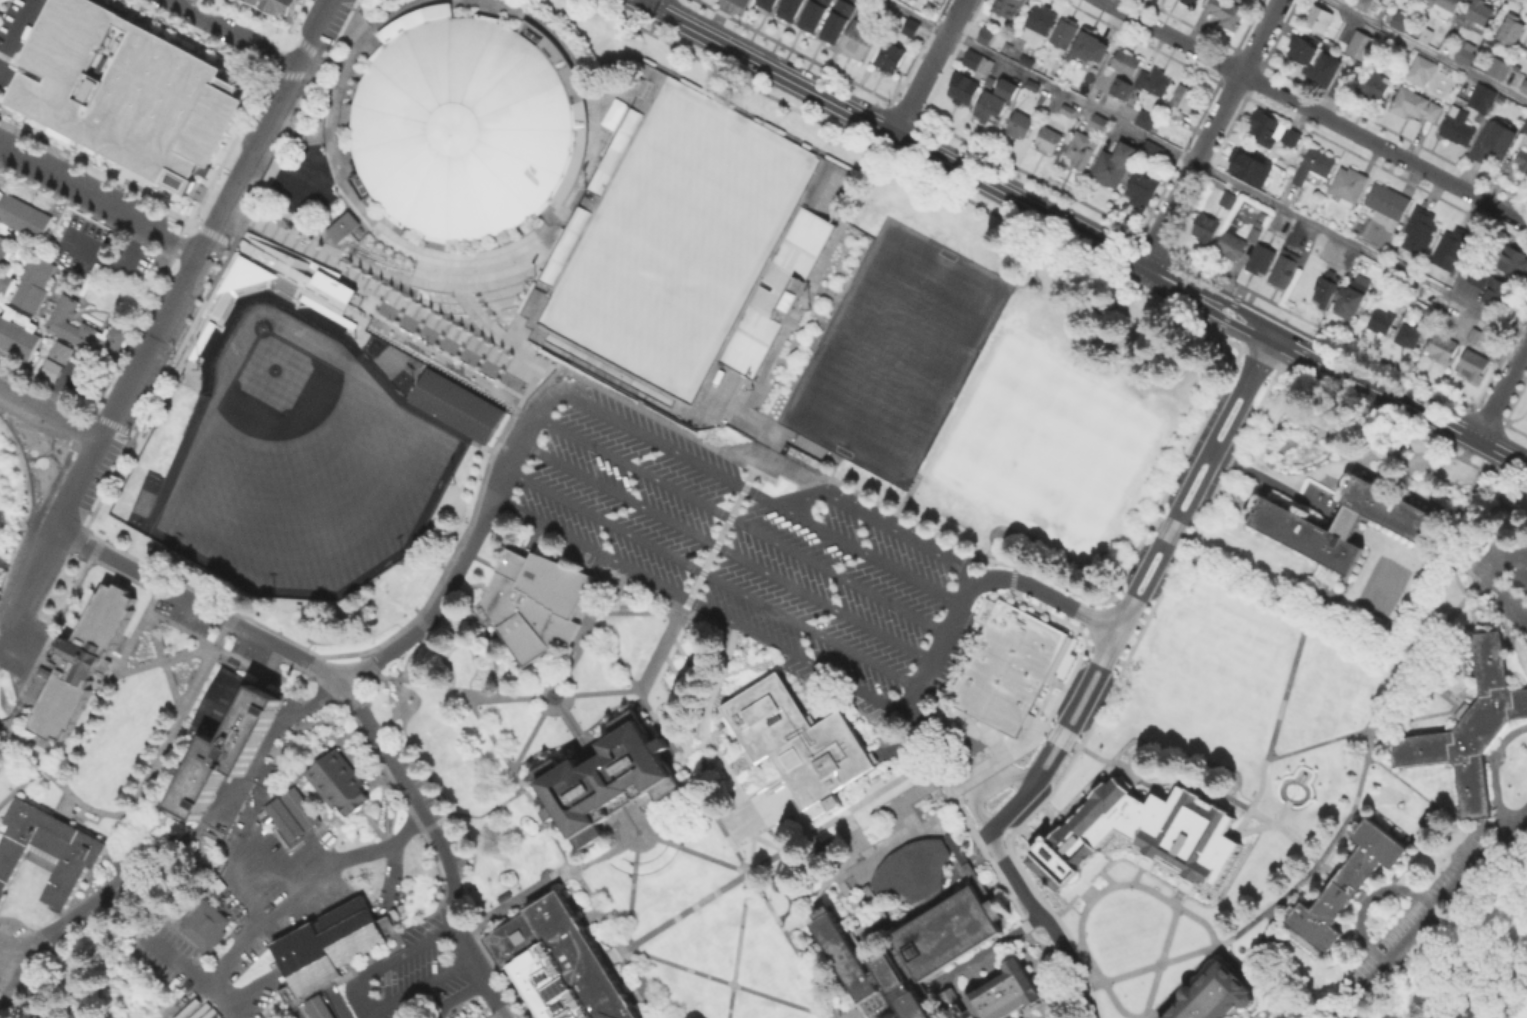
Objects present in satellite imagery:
building: (740, 2)
building: (770, 2)
road: (648, 3)
building: (1189, 3)
building: (278, 4)
building: (1364, 4)
building: (1007, 6)
building: (1444, 6)
building: (792, 7)
road: (201, 8)
road: (488, 10)
building: (816, 13)
building: (1225, 13)
building: (1478, 14)
building: (1040, 19)
building: (1319, 19)
building: (839, 20)
building: (1401, 22)
building: (911, 27)
building: (1512, 30)
road: (17, 32)
building: (1064, 32)
road: (231, 33)
road: (311, 33)
building: (989, 33)
road: (203, 35)
building: (1426, 38)
building: (859, 40)
road: (369, 42)
building: (1367, 45)
building: (1085, 46)
road: (310, 49)
road: (1429, 50)
building: (1468, 54)
building: (1526, 55)
building: (892, 57)
road: (317, 60)
building: (1316, 60)
building: (977, 62)
road: (273, 63)
building: (1026, 63)
building: (1124, 64)
road: (929, 67)
building: (1500, 70)
road: (312, 71)
building: (1422, 72)
road: (287, 73)
building: (1090, 73)
building: (1154, 83)
building: (1376, 85)
building: (1032, 87)
building: (963, 88)
building: (1008, 88)
building: (1525, 89)
building: (129, 92)
building: (1483, 99)
building: (992, 102)
building: (1181, 103)
building: (1416, 106)
road: (1314, 111)
building: (611, 112)
building: (1067, 112)
road: (340, 113)
road: (581, 116)
road: (297, 122)
building: (1147, 122)
building: (1099, 123)
building: (1019, 124)
building: (464, 125)
stadium: (464, 125)
building: (1524, 125)
building: (1458, 127)
road: (1210, 132)
building: (1272, 132)
building: (1048, 139)
building: (1494, 143)
road: (230, 145)
building: (1080, 150)
building: (1152, 153)
building: (1522, 161)
road: (344, 164)
building: (1114, 165)
building: (1246, 165)
road: (1206, 167)
building: (1315, 167)
road: (289, 179)
building: (1349, 186)
building: (1143, 188)
road: (98, 201)
building: (1229, 201)
building: (1387, 204)
road: (549, 210)
building: (23, 217)
building: (344, 226)
building: (1206, 231)
road: (183, 232)
road: (211, 232)
building: (1420, 232)
road: (1081, 233)
building: (1256, 235)
park: (677, 239)
road: (434, 242)
building: (1231, 246)
building: (2, 247)
building: (1454, 249)
stadium: (692, 252)
road: (197, 253)
road: (463, 258)
road: (112, 259)
building: (1260, 261)
building: (1514, 264)
building: (1286, 270)
building: (244, 274)
building: (4, 282)
building: (33, 285)
building: (1327, 288)
building: (1496, 290)
building: (308, 291)
building: (775, 291)
road: (826, 291)
building: (1353, 296)
road: (474, 297)
building: (530, 302)
building: (1434, 311)
building: (18, 318)
building: (1444, 320)
building: (1382, 323)
road: (503, 324)
road: (377, 326)
building: (87, 331)
building: (1410, 337)
building: (1475, 337)
building: (16, 339)
building: (1440, 350)
park: (895, 351)
park: (896, 351)
building: (57, 361)
road: (1264, 363)
building: (1472, 366)
road: (1501, 391)
road: (15, 399)
building: (457, 403)
road: (517, 404)
road: (745, 405)
road: (642, 406)
road: (66, 423)
road: (516, 438)
park: (299, 442)
road: (674, 450)
road: (1486, 453)
road: (1268, 480)
road: (739, 522)
road: (882, 524)
building: (1344, 528)
road: (48, 539)
parking lot: (743, 548)
road: (725, 549)
road: (1458, 549)
road: (92, 553)
road: (1145, 554)
road: (877, 558)
road: (482, 559)
road: (700, 573)
road: (710, 577)
road: (1490, 579)
road: (593, 582)
road: (1145, 588)
road: (1051, 595)
building: (535, 600)
road: (697, 605)
road: (1328, 612)
road: (593, 614)
road: (1496, 618)
road: (1490, 621)
road: (259, 623)
road: (586, 626)
road: (225, 627)
road: (52, 629)
road: (577, 636)
road: (202, 638)
road: (942, 644)
road: (413, 652)
building: (81, 658)
road: (161, 659)
road: (154, 662)
road: (288, 662)
road: (751, 662)
building: (1010, 663)
road: (567, 668)
road: (1291, 668)
road: (374, 674)
road: (261, 677)
road: (600, 691)
road: (468, 694)
road: (542, 695)
building: (222, 702)
road: (706, 704)
road: (356, 705)
building: (1464, 712)
road: (1095, 713)
road: (1034, 715)
road: (1415, 716)
road: (973, 721)
road: (1372, 723)
road: (1045, 726)
building: (1474, 727)
road: (272, 728)
road: (575, 729)
road: (910, 733)
road: (1059, 735)
road: (341, 737)
road: (528, 737)
road: (34, 739)
building: (797, 739)
road: (1071, 742)
road: (667, 748)
building: (226, 750)
road: (912, 755)
road: (33, 758)
road: (1104, 759)
road: (1495, 770)
road: (1129, 775)
building: (608, 776)
road: (379, 778)
building: (338, 780)
road: (1297, 780)
road: (988, 782)
road: (19, 784)
road: (954, 784)
road: (917, 790)
road: (71, 795)
road: (265, 796)
road: (757, 798)
road: (1430, 800)
road: (501, 801)
road: (156, 806)
building: (297, 807)
road: (66, 808)
road: (466, 814)
road: (86, 816)
road: (367, 816)
road: (420, 817)
road: (443, 817)
building: (281, 818)
road: (386, 820)
road: (630, 820)
road: (138, 822)
road: (554, 822)
road: (844, 822)
road: (147, 823)
road: (1268, 824)
road: (1342, 826)
road: (197, 827)
building: (1144, 829)
road: (1028, 830)
road: (145, 832)
road: (638, 832)
road: (1285, 832)
road: (384, 836)
road: (646, 836)
road: (637, 842)
road: (232, 847)
building: (47, 848)
road: (376, 848)
road: (737, 852)
road: (566, 858)
road: (767, 859)
road: (816, 861)
road: (118, 863)
road: (273, 866)
road: (1141, 867)
road: (995, 868)
building: (914, 870)
road: (971, 870)
road: (227, 880)
road: (340, 880)
road: (389, 880)
road: (993, 883)
road: (1134, 883)
building: (1345, 883)
road: (868, 884)
road: (1084, 886)
building: (949, 887)
road: (1181, 888)
road: (1027, 893)
road: (1368, 897)
road: (744, 898)
road: (513, 899)
road: (813, 902)
road: (377, 904)
road: (446, 906)
road: (376, 913)
road: (590, 914)
road: (814, 915)
road: (881, 915)
road: (1426, 915)
road: (418, 919)
building: (203, 923)
road: (249, 926)
road: (1260, 937)
building: (327, 944)
road: (984, 947)
building: (917, 949)
road: (26, 951)
road: (616, 953)
road: (1208, 955)
road: (607, 958)
road: (1158, 959)
road: (176, 961)
building: (561, 963)
road: (685, 966)
road: (1144, 967)
road: (638, 991)
road: (1526, 992)
building: (1006, 993)
road: (1526, 994)
road: (455, 995)
building: (1222, 995)
road: (363, 997)
park: (1515, 1001)
road: (1057, 1006)
building: (316, 1007)
road: (368, 1010)
road: (856, 1012)
road: (1029, 1015)
road: (1146, 1016)
building: (461, 1017)

